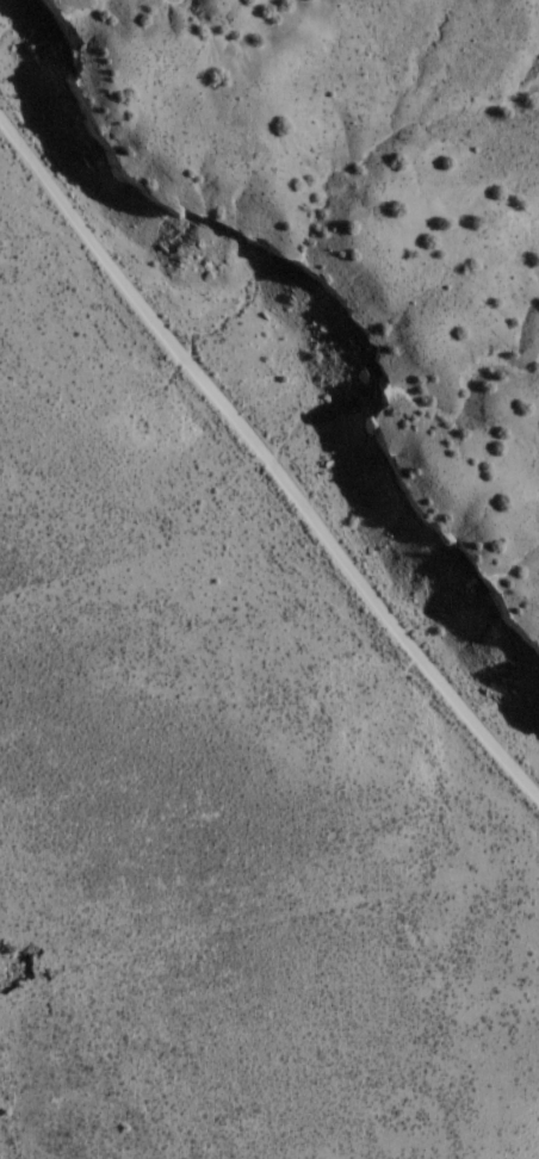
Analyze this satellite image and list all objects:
road: (259, 452)

